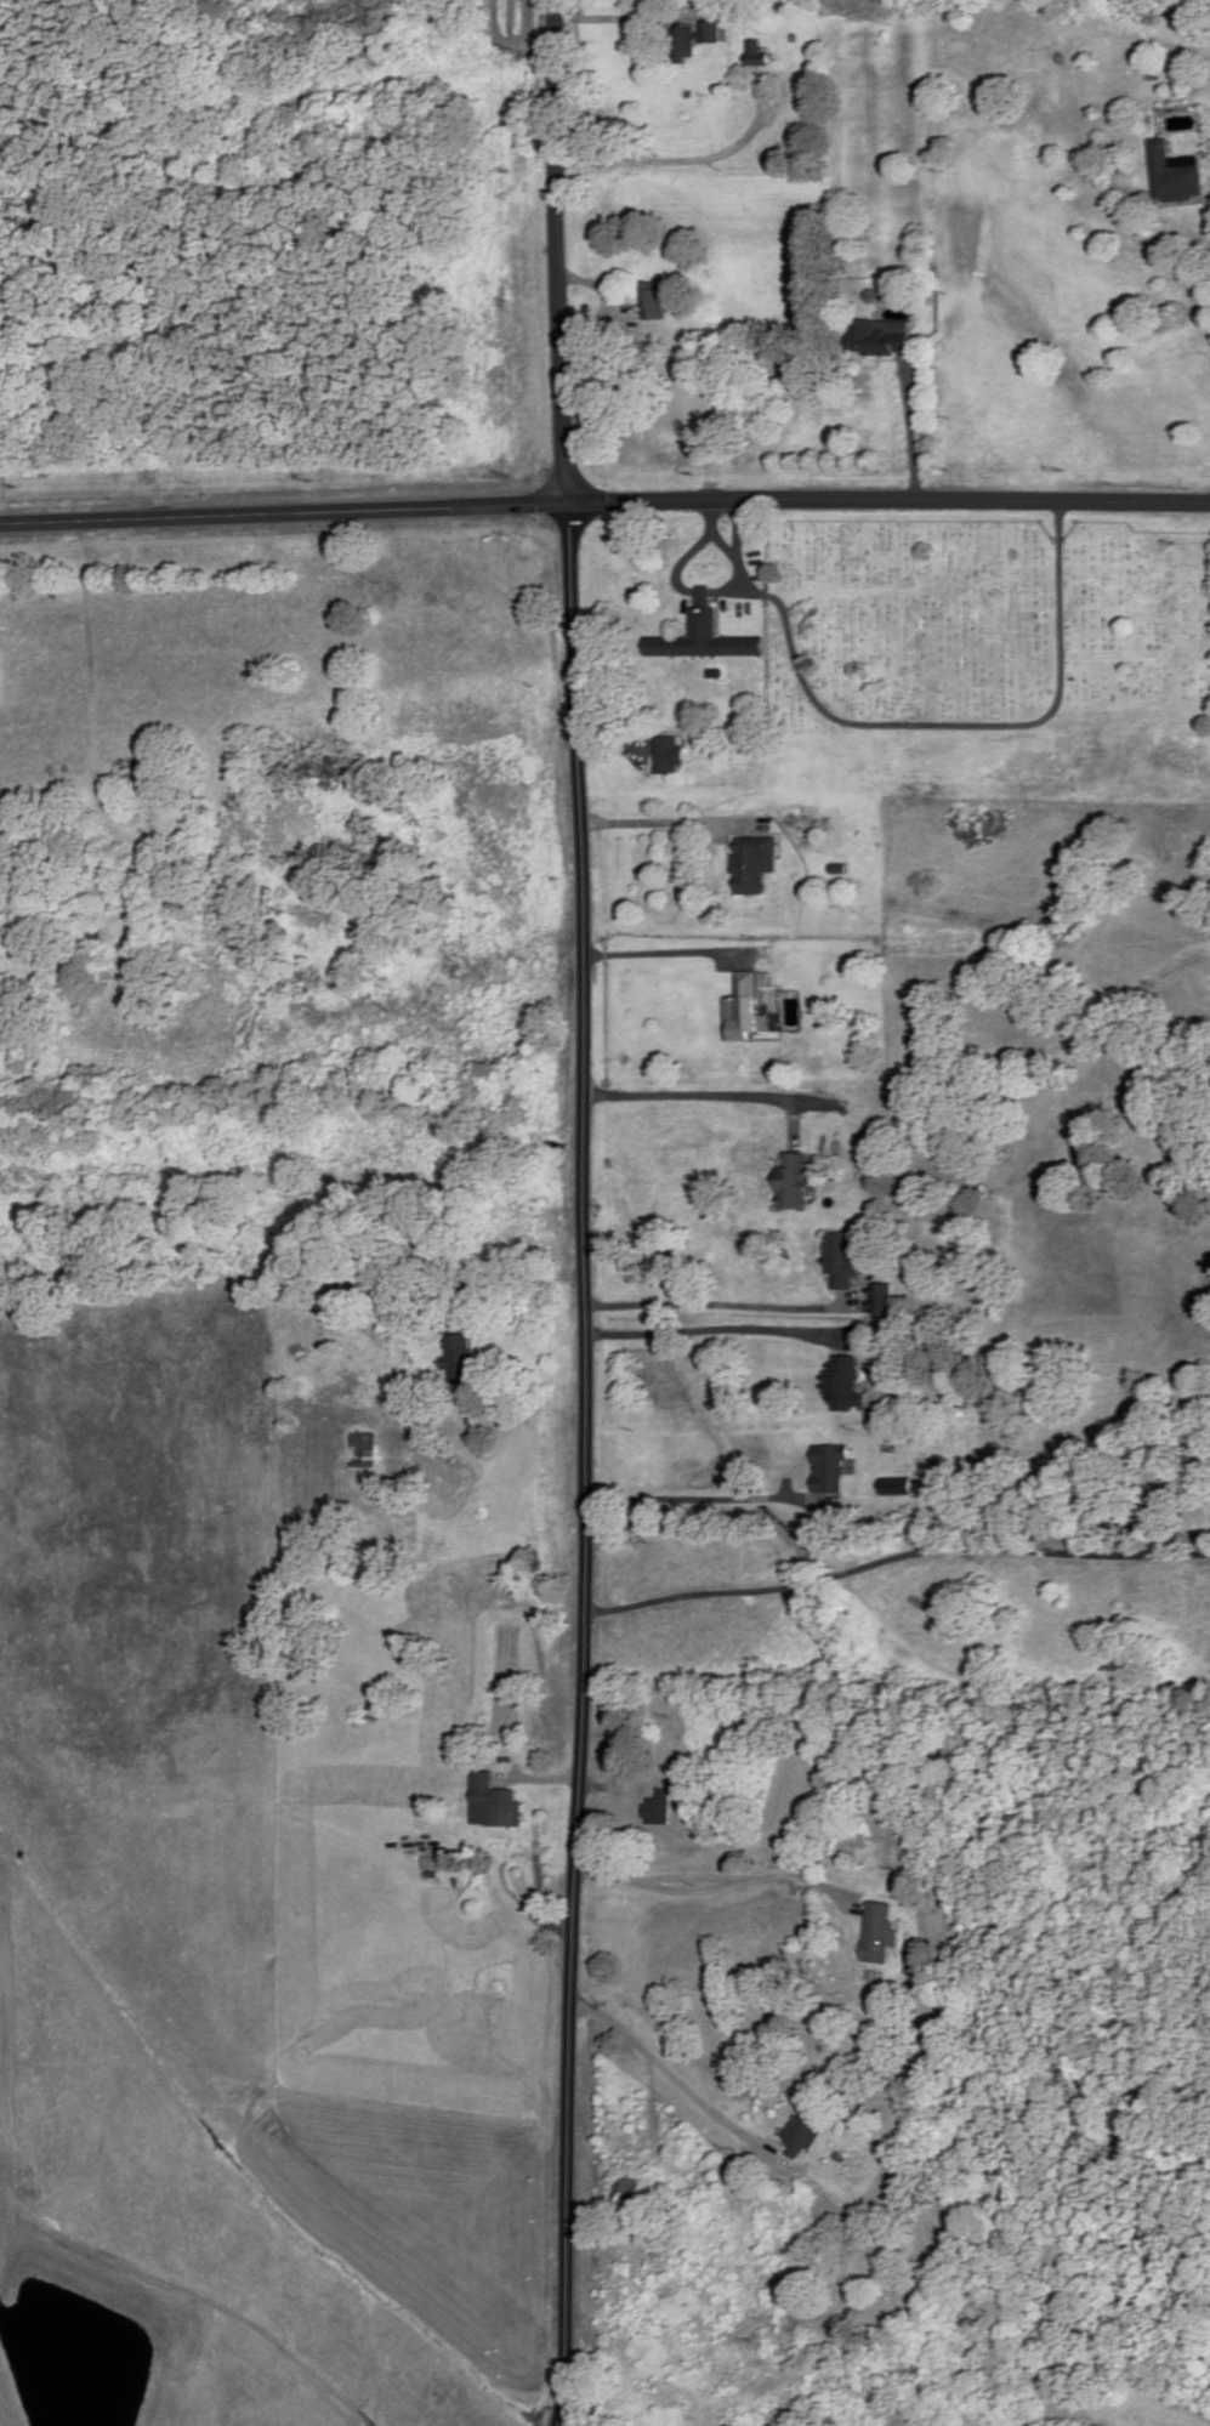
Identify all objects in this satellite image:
road: (614, 15)
building: (756, 52)
road: (678, 157)
road: (1205, 160)
building: (1176, 174)
road: (557, 250)
building: (654, 299)
building: (886, 343)
road: (908, 428)
road: (604, 500)
road: (725, 541)
road: (691, 551)
road: (729, 589)
road: (705, 592)
building: (705, 638)
road: (922, 727)
road: (610, 745)
building: (670, 755)
road: (666, 824)
building: (751, 864)
road: (671, 954)
building: (743, 1012)
road: (703, 1097)
road: (791, 1124)
building: (795, 1182)
building: (841, 1260)
road: (521, 1283)
building: (881, 1300)
road: (722, 1306)
road: (720, 1331)
building: (459, 1356)
building: (843, 1385)
building: (363, 1448)
road: (585, 1464)
building: (830, 1467)
building: (894, 1488)
road: (705, 1499)
road: (893, 1559)
road: (544, 1780)
road: (602, 1788)
building: (496, 1801)
building: (661, 1807)
road: (687, 1877)
road: (716, 1890)
road: (539, 1897)
building: (879, 1933)
road: (681, 2085)
road: (653, 2110)
building: (800, 2136)
building: (629, 2189)
road: (214, 2306)

